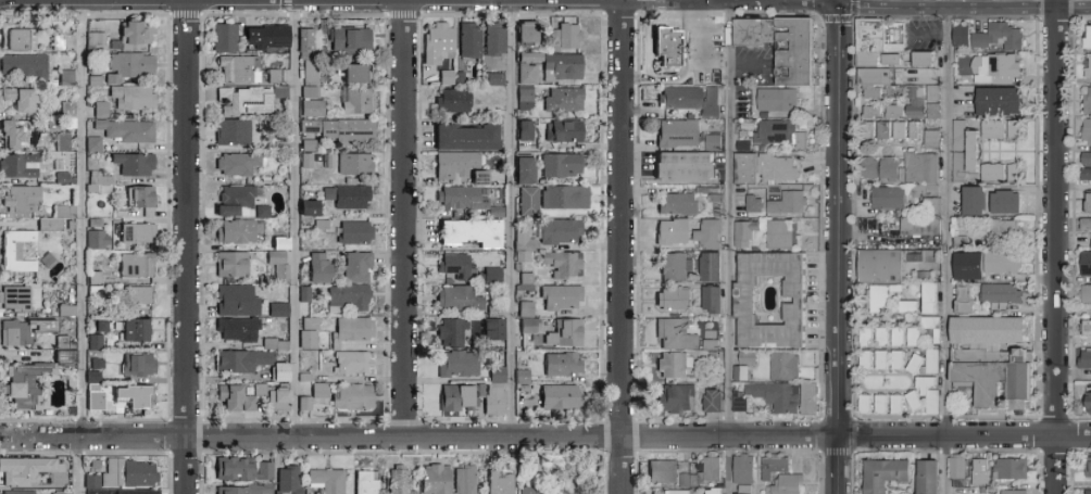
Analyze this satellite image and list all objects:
road: (284, 7)
road: (660, 7)
road: (966, 8)
road: (700, 9)
road: (84, 12)
road: (185, 12)
road: (292, 13)
road: (402, 13)
road: (739, 13)
road: (844, 18)
building: (527, 33)
building: (137, 34)
building: (568, 37)
building: (989, 37)
building: (225, 38)
building: (267, 38)
building: (1087, 38)
building: (20, 39)
building: (351, 40)
building: (469, 40)
building: (496, 40)
building: (96, 41)
building: (306, 41)
building: (438, 41)
building: (60, 42)
building: (782, 46)
building: (668, 47)
building: (923, 60)
building: (874, 62)
building: (130, 65)
building: (24, 66)
building: (563, 66)
building: (1088, 66)
building: (995, 68)
building: (238, 69)
building: (355, 73)
road: (647, 74)
building: (274, 77)
building: (447, 77)
building: (67, 78)
building: (311, 78)
building: (493, 78)
building: (527, 83)
building: (134, 98)
building: (21, 99)
building: (690, 99)
building: (1088, 99)
building: (563, 100)
building: (244, 101)
building: (356, 101)
building: (454, 101)
building: (776, 101)
building: (915, 101)
building: (998, 102)
building: (932, 106)
building: (312, 109)
building: (70, 110)
building: (101, 110)
building: (871, 112)
building: (893, 112)
building: (523, 129)
building: (341, 130)
building: (993, 130)
building: (1015, 130)
building: (127, 131)
building: (883, 131)
building: (914, 131)
building: (233, 132)
building: (564, 132)
building: (12, 134)
building: (677, 134)
building: (778, 134)
building: (1087, 134)
building: (466, 137)
building: (932, 141)
building: (63, 142)
building: (713, 143)
building: (93, 144)
building: (308, 144)
building: (964, 151)
building: (305, 160)
building: (328, 160)
building: (1087, 160)
building: (237, 164)
building: (355, 164)
building: (137, 165)
building: (455, 165)
building: (563, 165)
building: (18, 166)
building: (684, 167)
building: (764, 168)
building: (901, 169)
building: (525, 172)
building: (994, 173)
building: (1015, 173)
building: (1086, 176)
building: (99, 178)
building: (924, 190)
building: (349, 197)
building: (141, 198)
building: (565, 198)
building: (888, 198)
building: (460, 199)
building: (22, 200)
building: (234, 200)
building: (528, 201)
building: (974, 202)
building: (1005, 202)
building: (789, 203)
building: (679, 204)
building: (754, 204)
building: (1089, 204)
building: (310, 208)
building: (262, 211)
building: (494, 211)
road: (730, 217)
building: (57, 218)
road: (294, 218)
road: (404, 218)
road: (512, 218)
road: (78, 219)
building: (924, 220)
building: (1086, 225)
building: (1004, 229)
building: (137, 232)
building: (240, 232)
building: (472, 232)
building: (562, 232)
building: (673, 232)
building: (356, 233)
building: (744, 233)
building: (780, 235)
building: (708, 236)
building: (96, 240)
building: (1090, 242)
road: (185, 246)
building: (524, 246)
road: (619, 246)
road: (836, 246)
road: (944, 246)
road: (1054, 246)
building: (16, 252)
building: (913, 257)
building: (233, 264)
building: (454, 264)
building: (564, 264)
building: (137, 265)
building: (277, 265)
building: (983, 265)
building: (1086, 265)
building: (359, 267)
building: (676, 267)
building: (321, 268)
building: (711, 268)
building: (493, 275)
building: (880, 276)
building: (304, 294)
building: (1001, 294)
building: (1086, 294)
building: (140, 296)
building: (350, 296)
building: (20, 299)
building: (460, 299)
building: (561, 299)
building: (929, 299)
building: (963, 299)
building: (237, 300)
building: (673, 300)
building: (712, 300)
building: (769, 301)
building: (907, 307)
building: (527, 309)
building: (66, 311)
building: (279, 311)
building: (929, 324)
building: (100, 326)
building: (352, 329)
building: (494, 329)
building: (238, 330)
building: (1087, 330)
building: (24, 331)
building: (135, 331)
building: (987, 332)
building: (309, 333)
building: (453, 333)
building: (565, 333)
building: (675, 334)
building: (528, 335)
building: (874, 338)
building: (898, 338)
building: (913, 338)
building: (712, 340)
building: (95, 343)
building: (65, 352)
building: (1083, 359)
building: (242, 360)
building: (865, 360)
building: (896, 360)
building: (880, 362)
building: (353, 363)
building: (139, 364)
building: (460, 364)
building: (564, 364)
building: (674, 365)
building: (914, 365)
building: (783, 367)
building: (280, 371)
building: (523, 379)
building: (999, 381)
building: (930, 384)
building: (24, 385)
building: (95, 387)
building: (497, 392)
building: (134, 396)
building: (353, 396)
building: (777, 396)
building: (316, 397)
building: (457, 397)
building: (561, 397)
building: (234, 398)
building: (675, 398)
building: (278, 400)
building: (808, 400)
building: (713, 401)
building: (914, 402)
building: (1088, 403)
building: (865, 405)
building: (880, 405)
building: (895, 406)
road: (544, 435)
road: (729, 465)
road: (76, 466)
building: (235, 469)
building: (742, 469)
building: (958, 469)
building: (1088, 469)
building: (1011, 470)
building: (29, 471)
building: (264, 471)
building: (130, 472)
building: (662, 472)
building: (705, 473)
building: (980, 473)
building: (885, 474)
building: (779, 478)
building: (927, 478)
building: (436, 479)
building: (289, 480)
building: (401, 480)
building: (465, 480)
building: (91, 481)
building: (327, 481)
building: (500, 482)
building: (367, 483)
building: (243, 490)
building: (527, 491)
building: (17, 492)
building: (135, 492)
building: (675, 492)
building: (713, 492)
building: (1010, 492)
building: (1088, 492)

